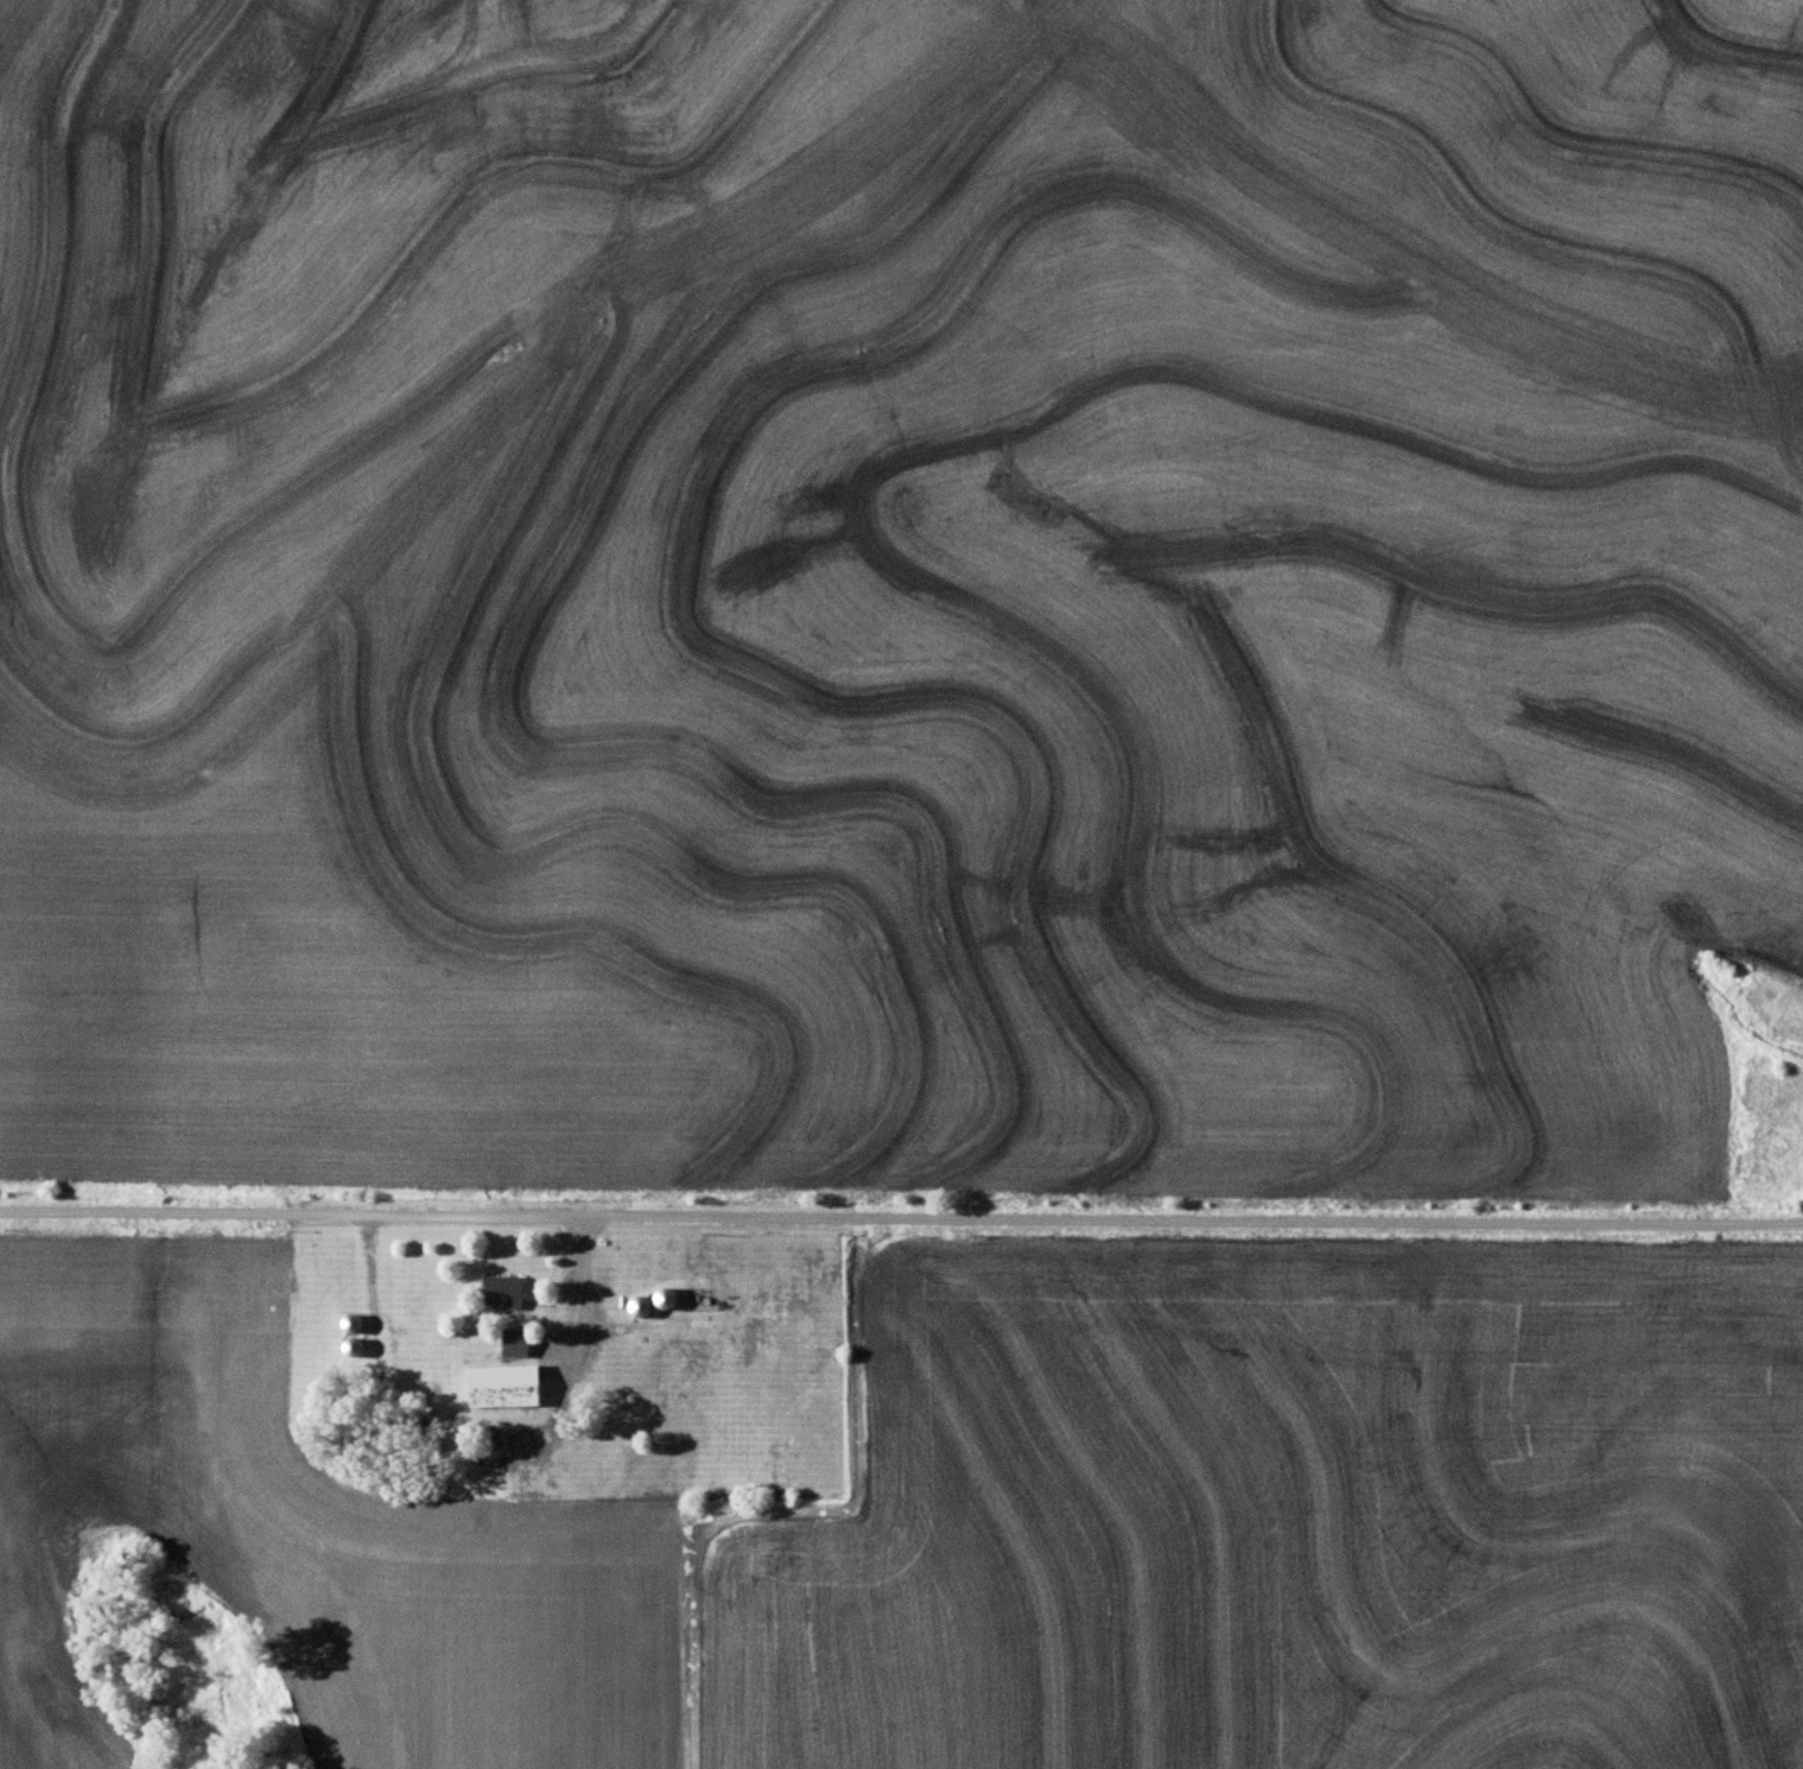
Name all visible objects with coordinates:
road: (901, 1216)
building: (499, 1288)
building: (350, 1319)
building: (406, 1332)
building: (348, 1345)
building: (499, 1383)

